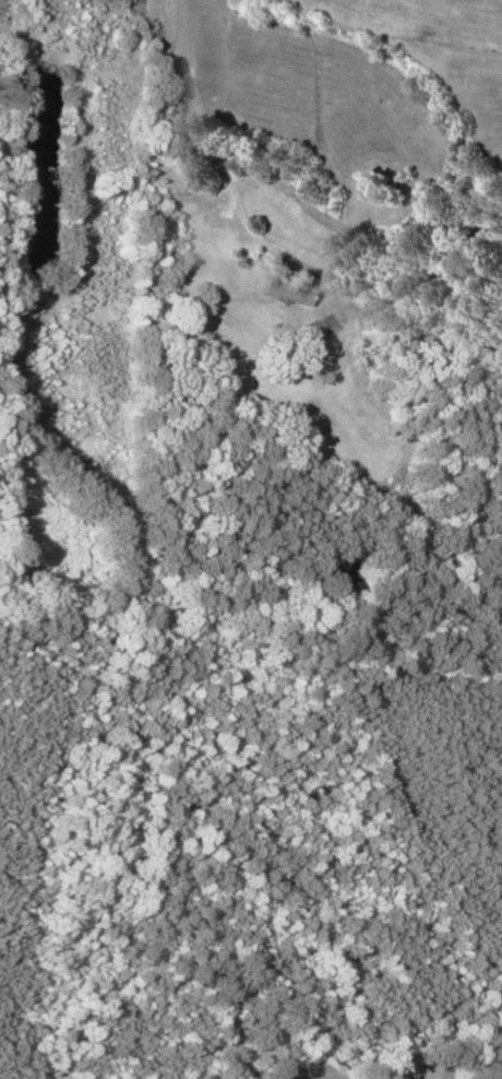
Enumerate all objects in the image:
road: (191, 104)
building: (280, 287)

